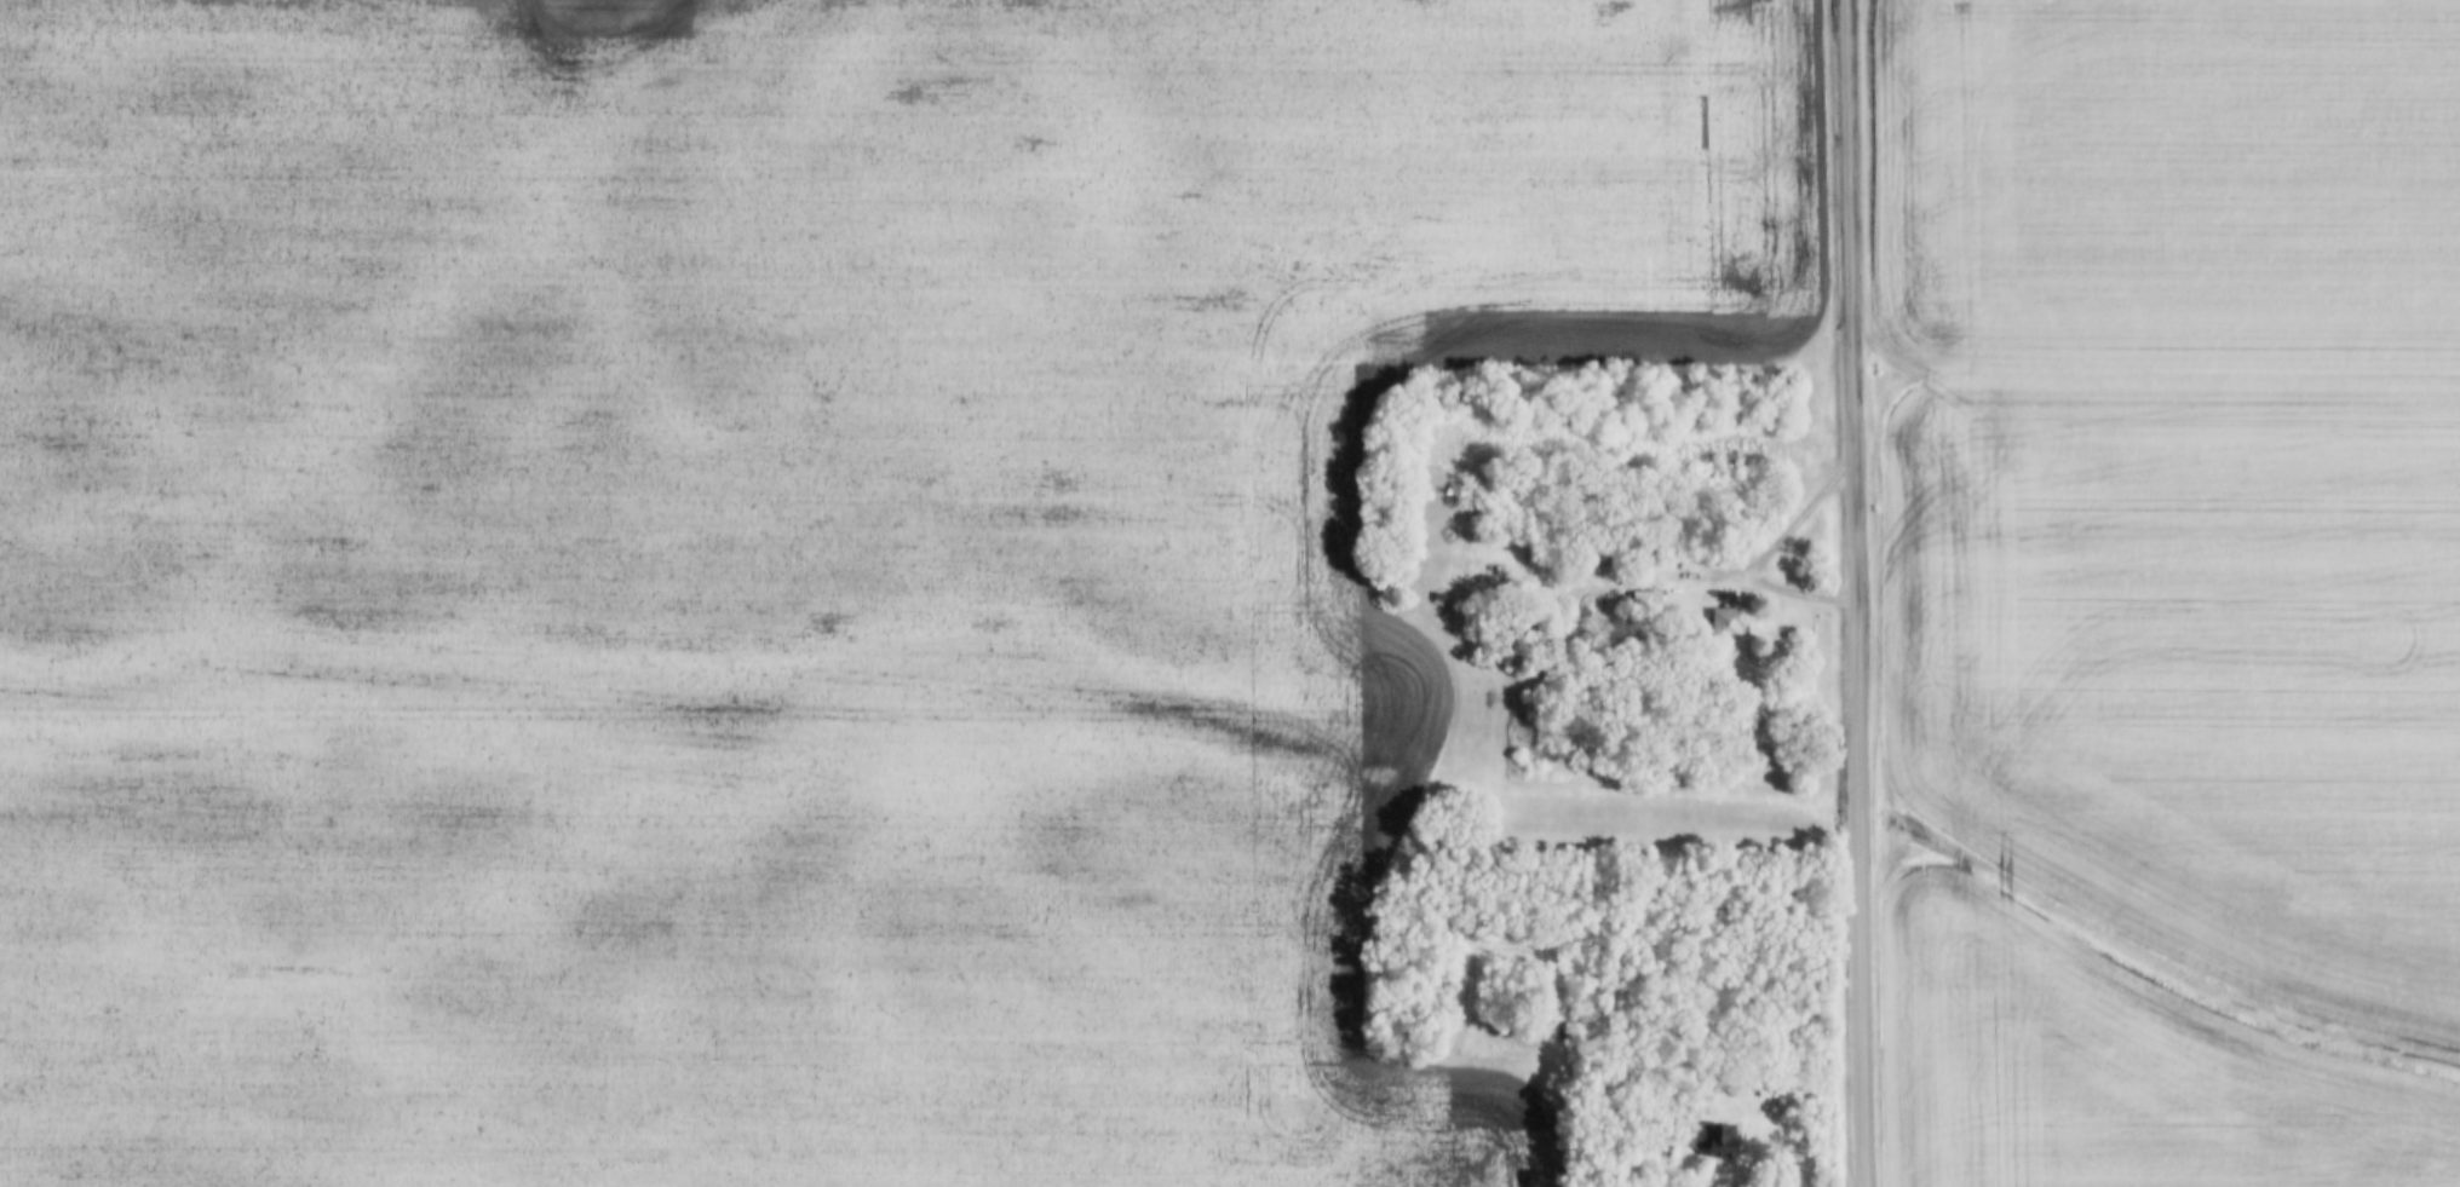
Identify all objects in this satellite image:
road: (1740, 571)
road: (1853, 593)

